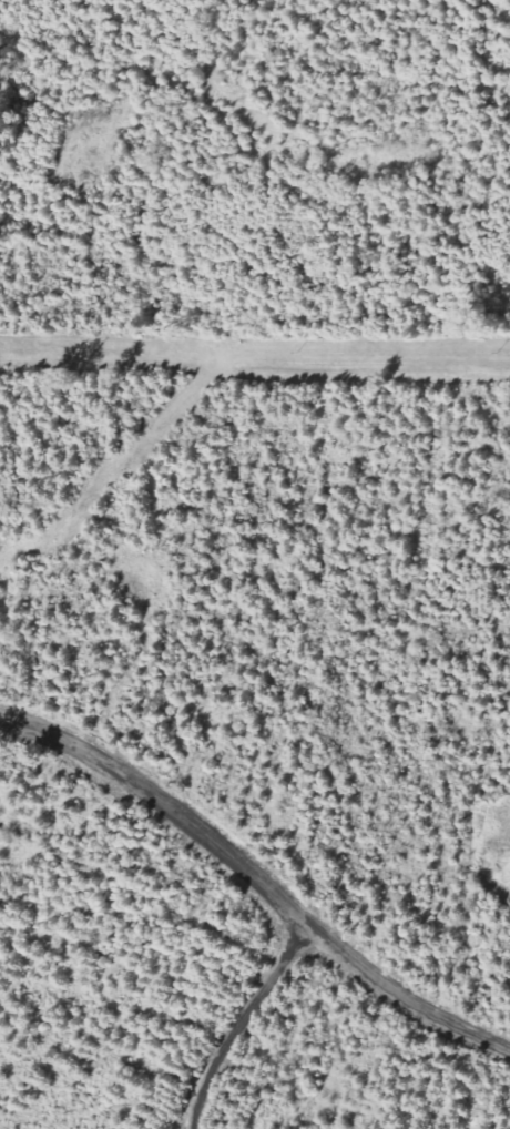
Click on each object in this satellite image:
road: (258, 881)
road: (237, 1021)

